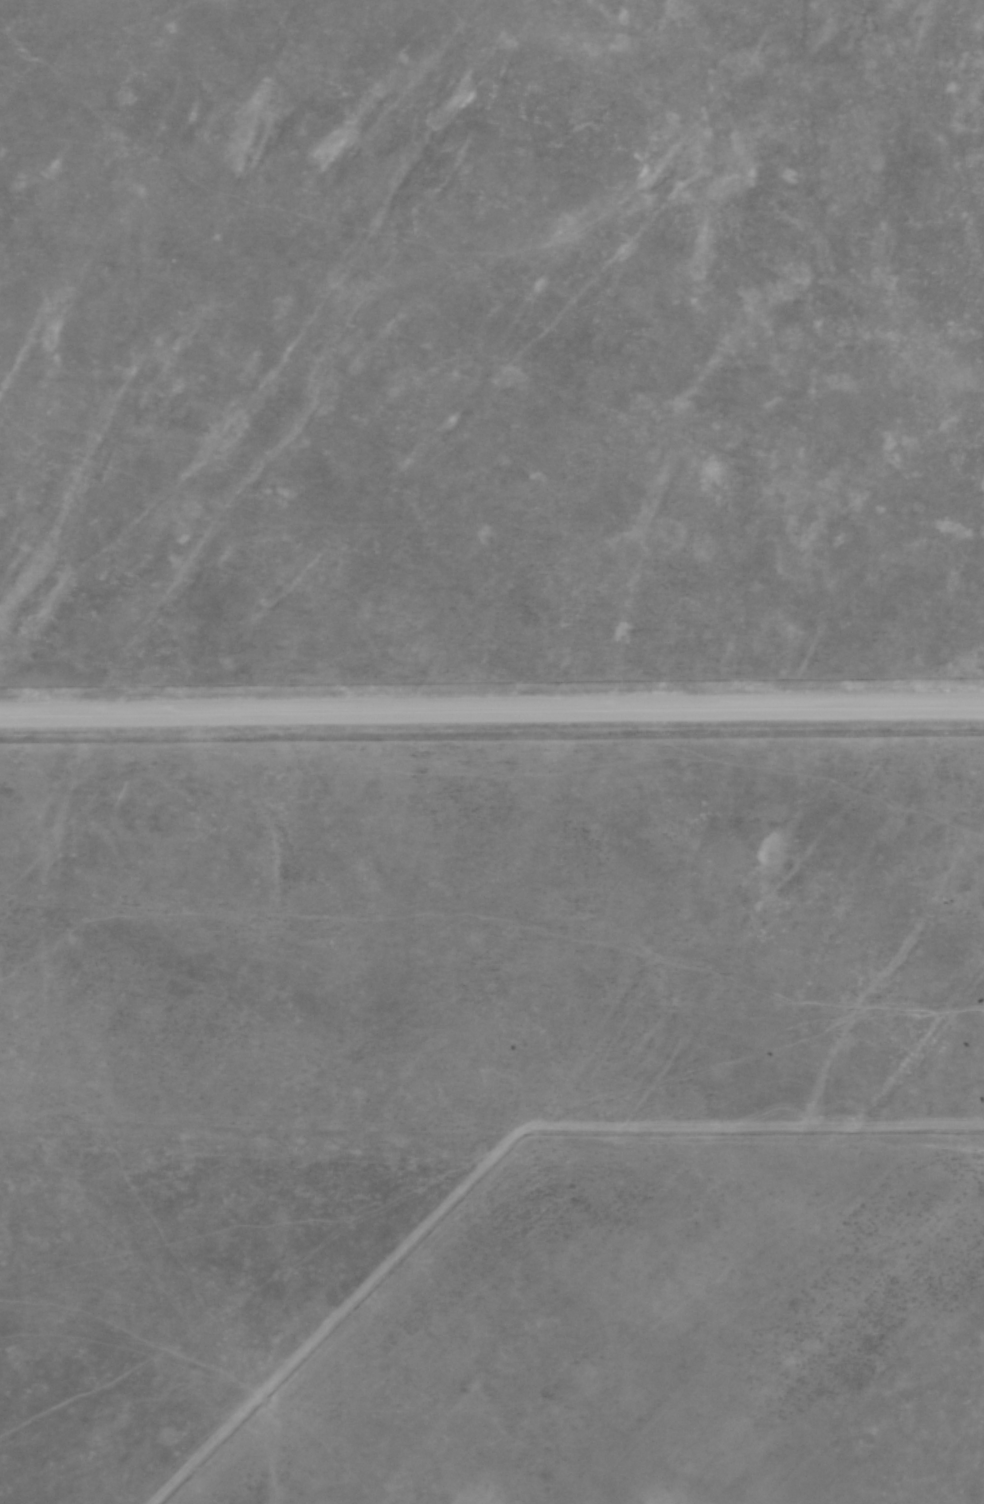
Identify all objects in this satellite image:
road: (492, 714)

